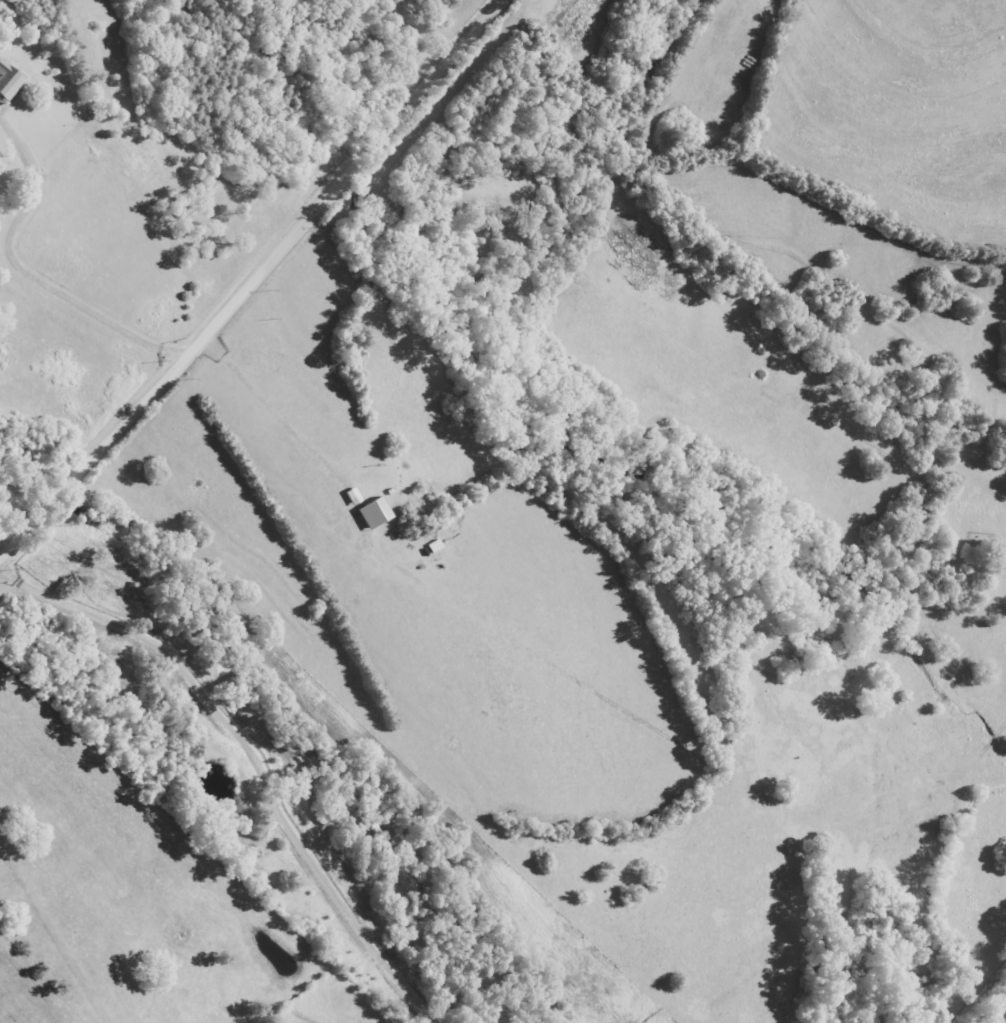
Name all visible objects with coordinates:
building: (5, 82)
road: (255, 283)
road: (46, 949)

